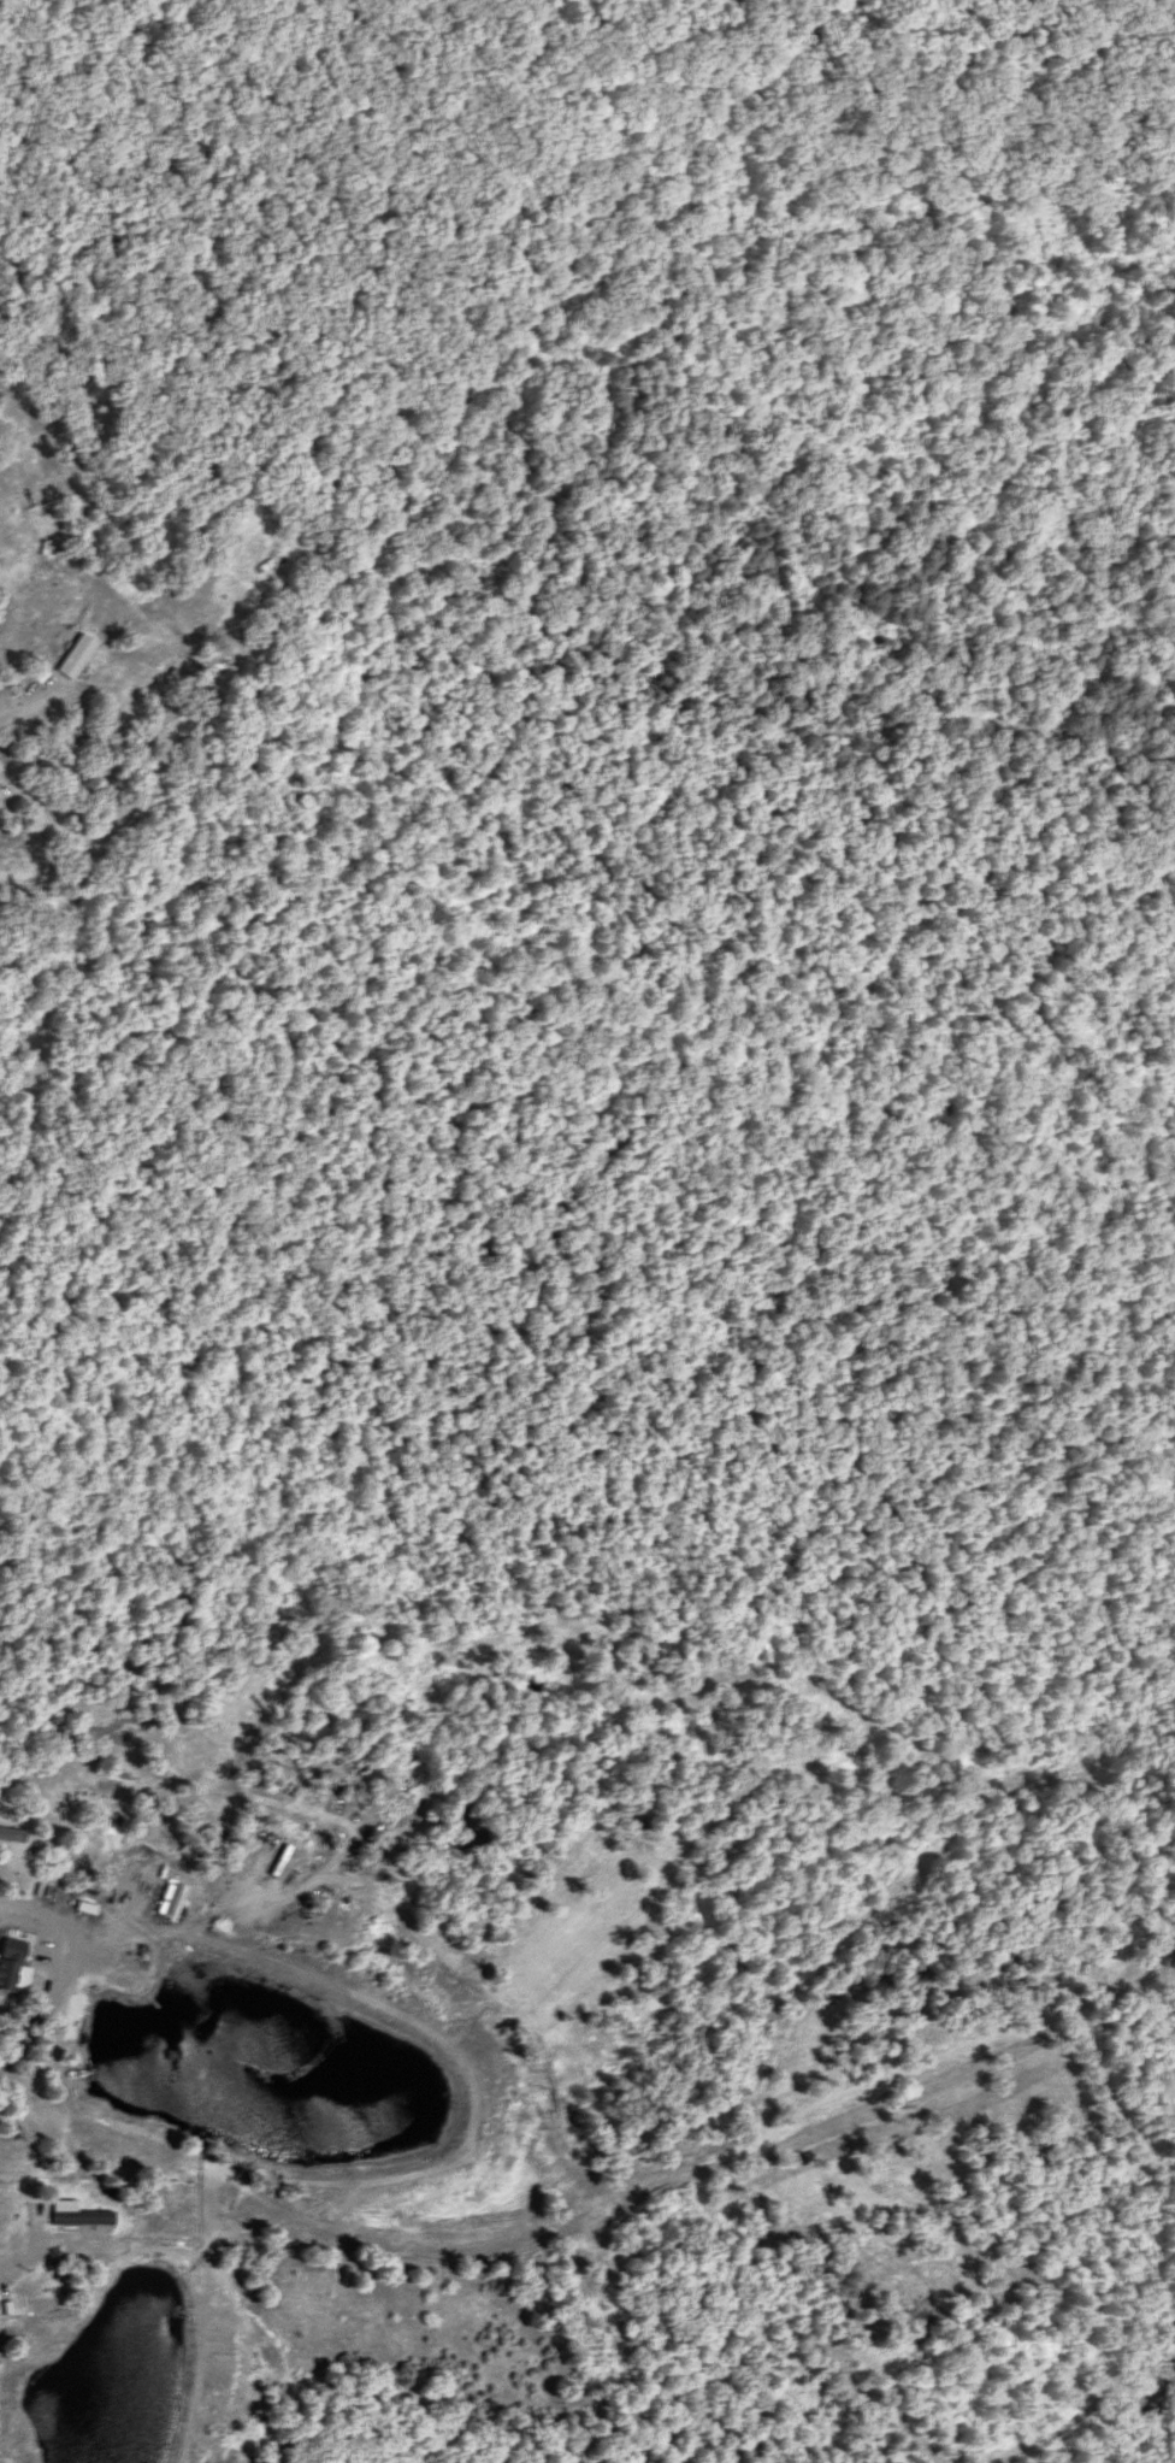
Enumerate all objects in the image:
building: (34, 367)
building: (75, 656)
road: (18, 700)
park: (29, 1045)
building: (8, 1833)
road: (1, 1897)
building: (5, 1981)
building: (89, 2217)

